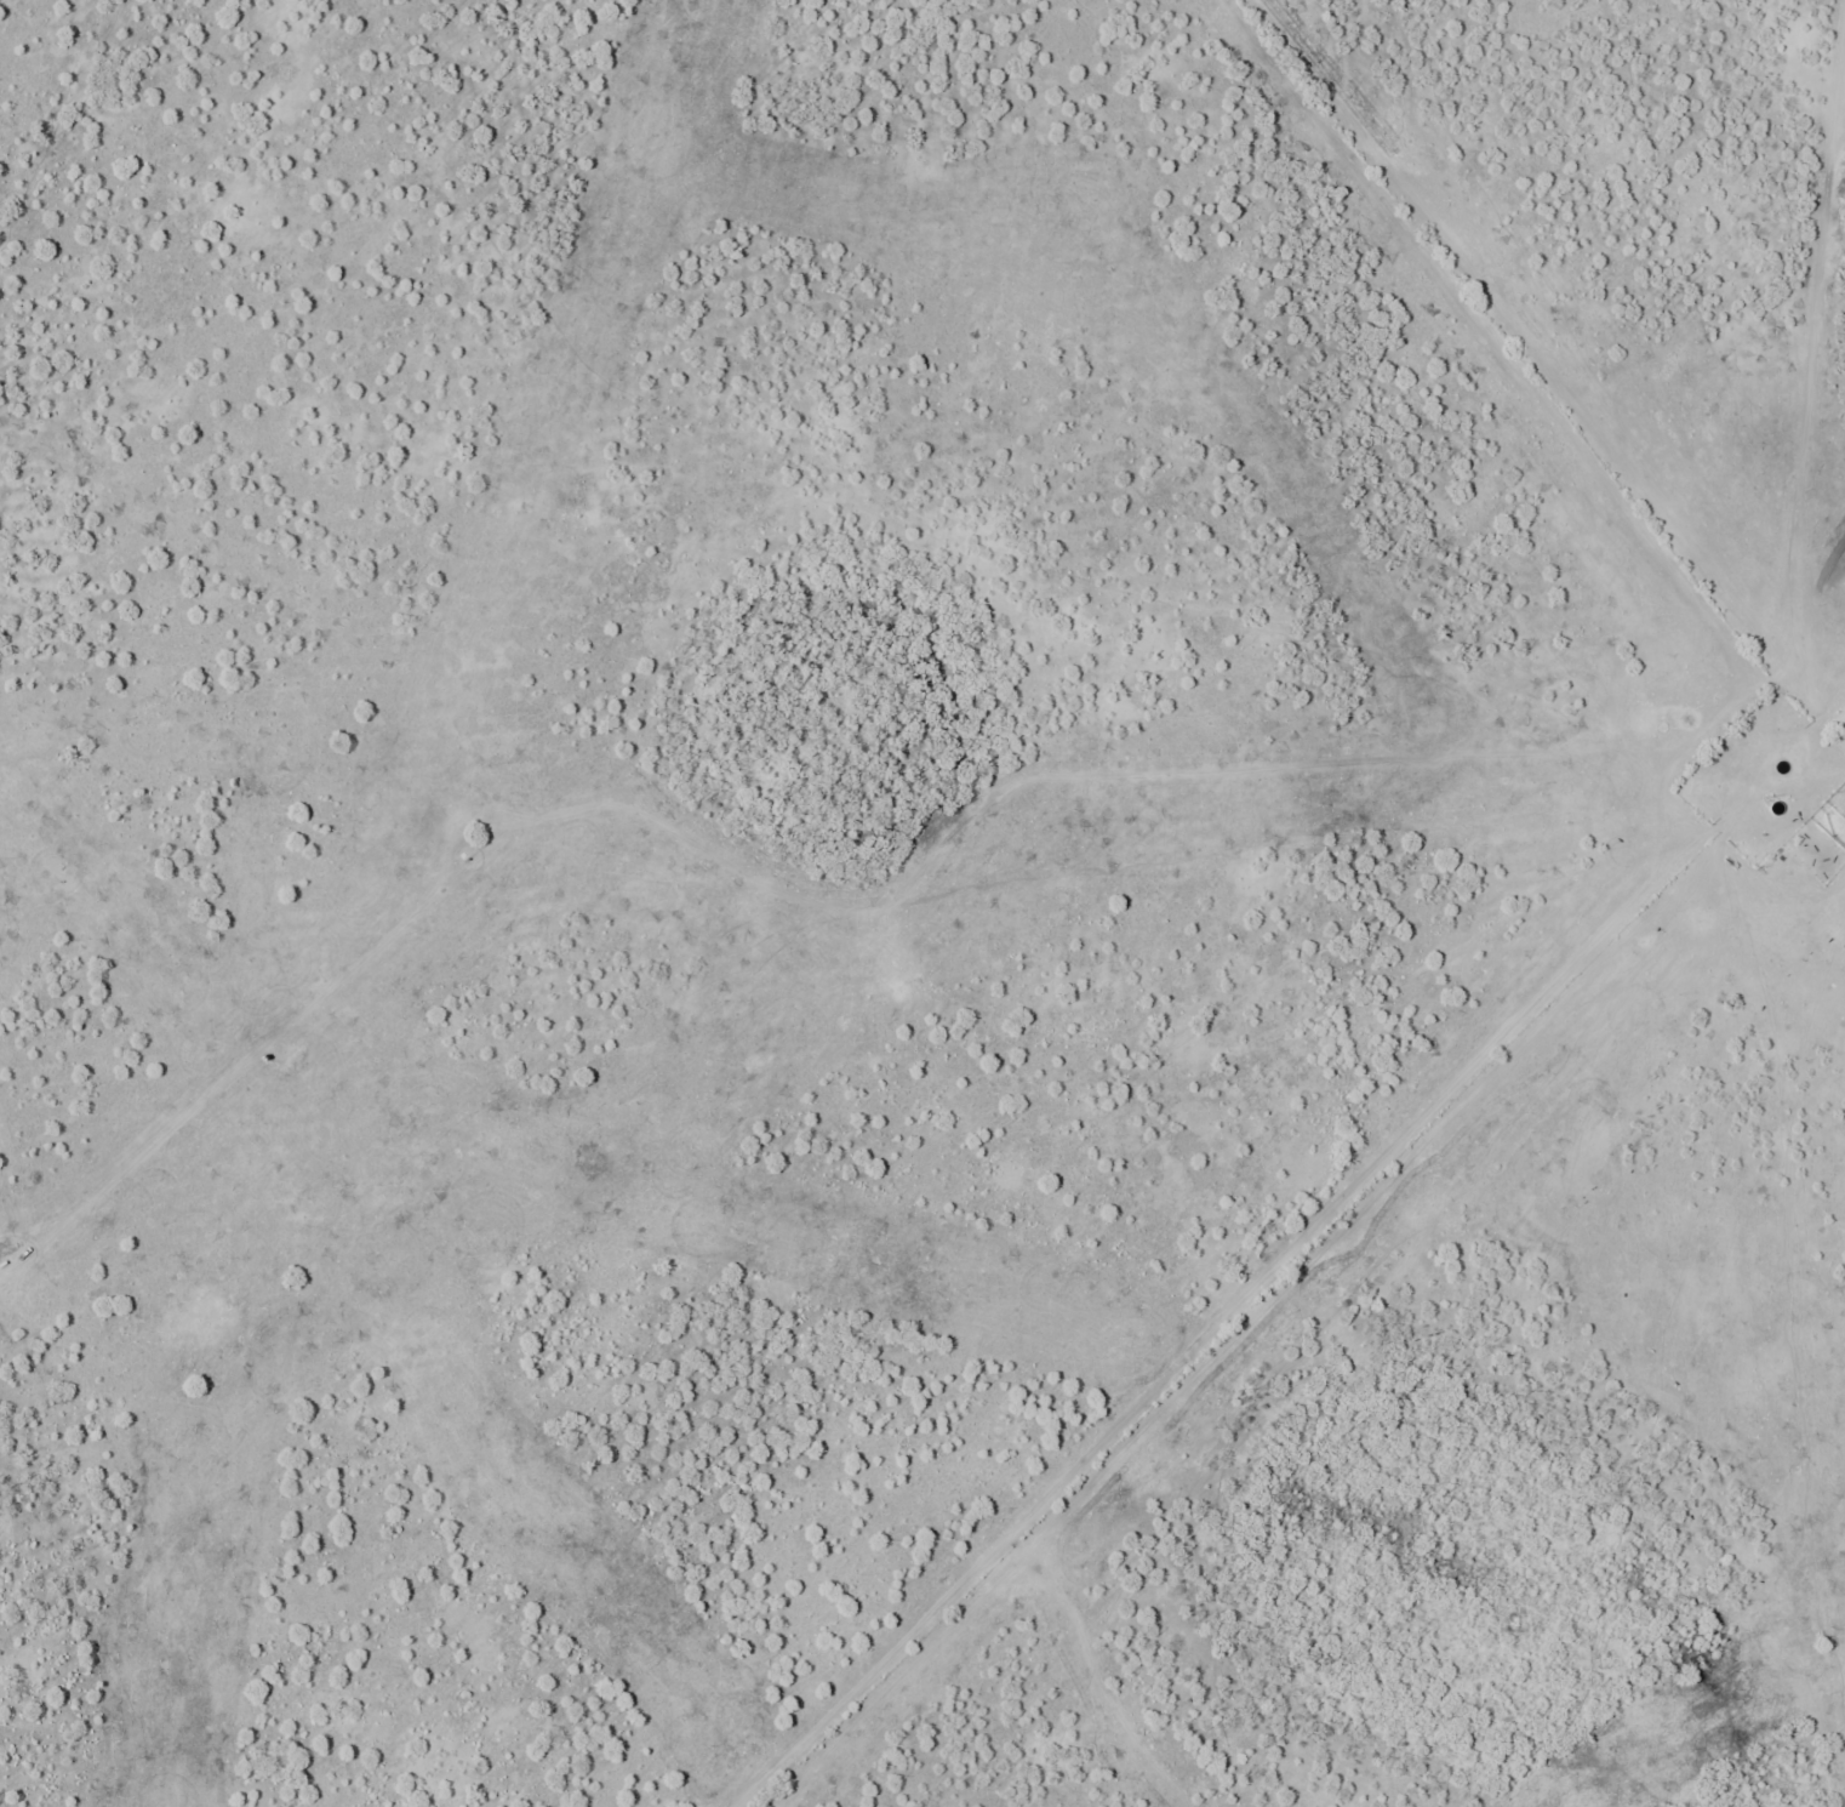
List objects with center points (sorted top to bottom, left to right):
road: (1628, 609)
road: (920, 1042)

